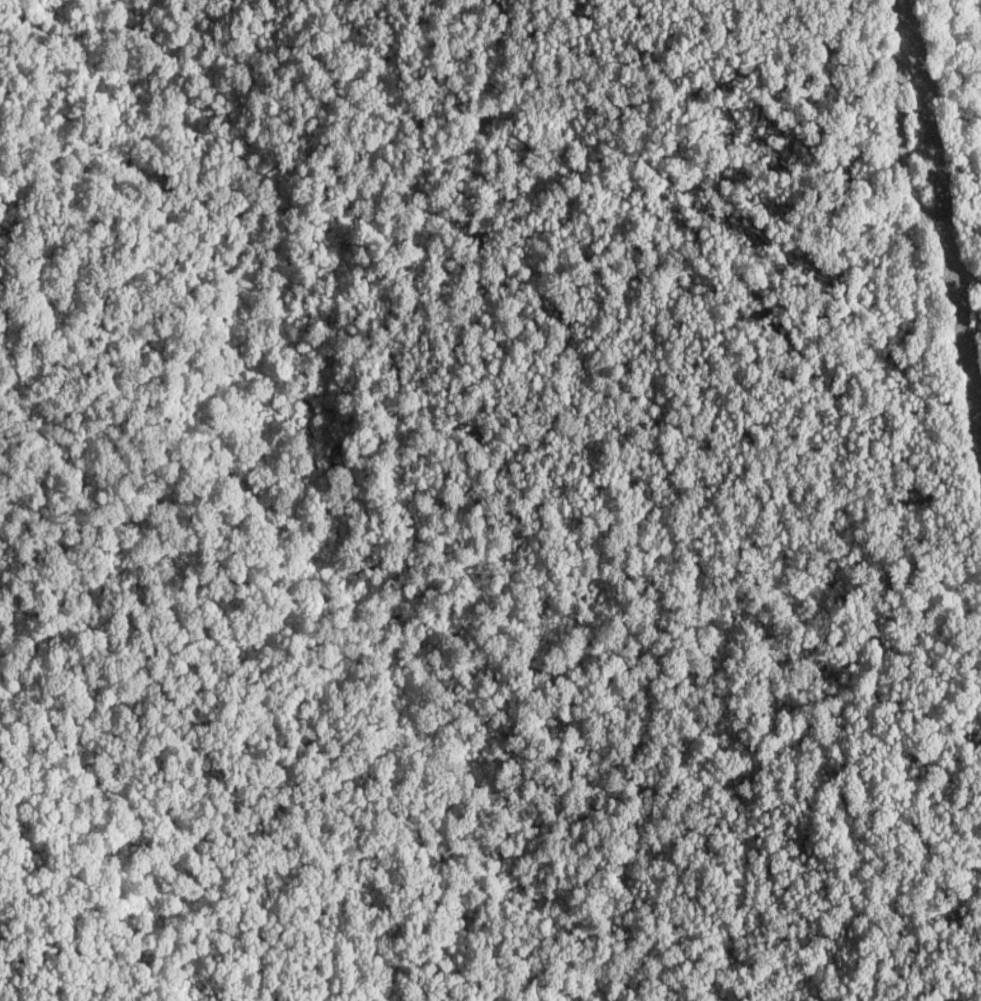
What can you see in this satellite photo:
road: (910, 155)

